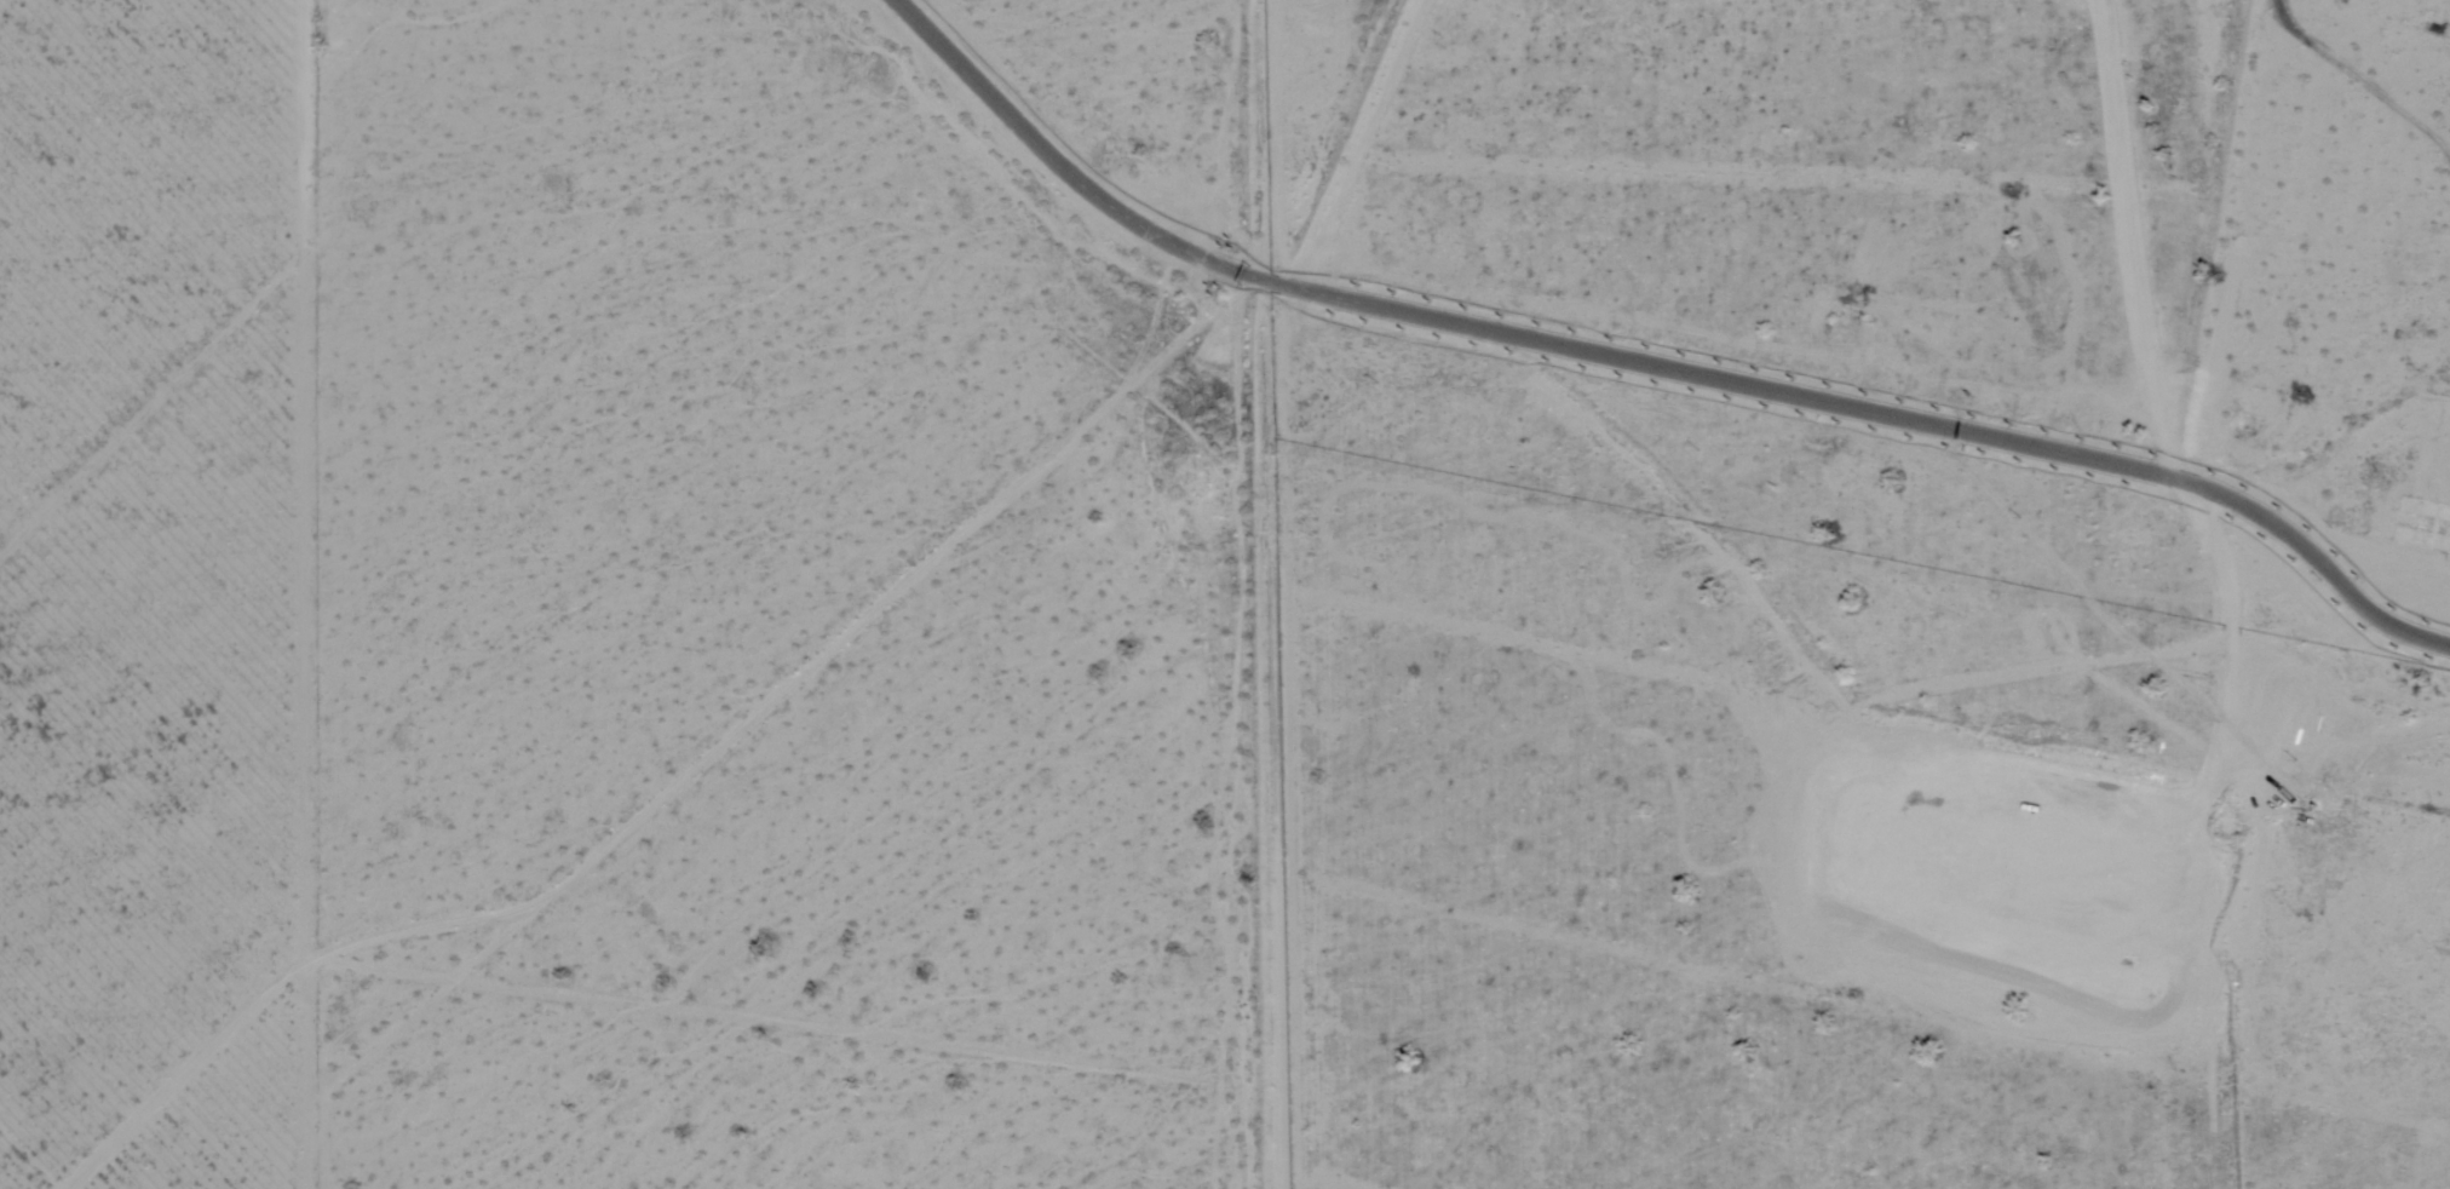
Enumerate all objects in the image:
road: (1651, 363)

